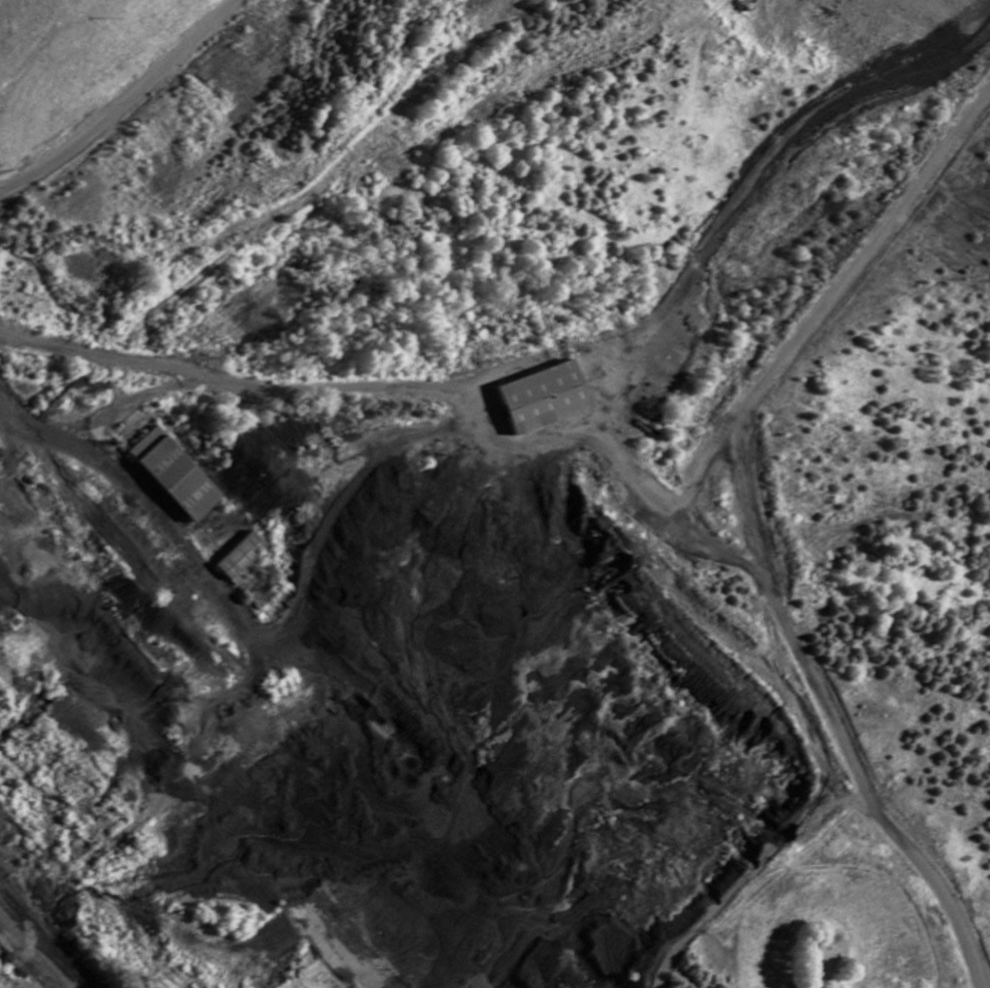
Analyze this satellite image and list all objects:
road: (124, 101)
road: (222, 382)
road: (135, 398)
building: (544, 399)
road: (478, 449)
road: (92, 456)
building: (178, 474)
building: (226, 574)
railway: (42, 942)

